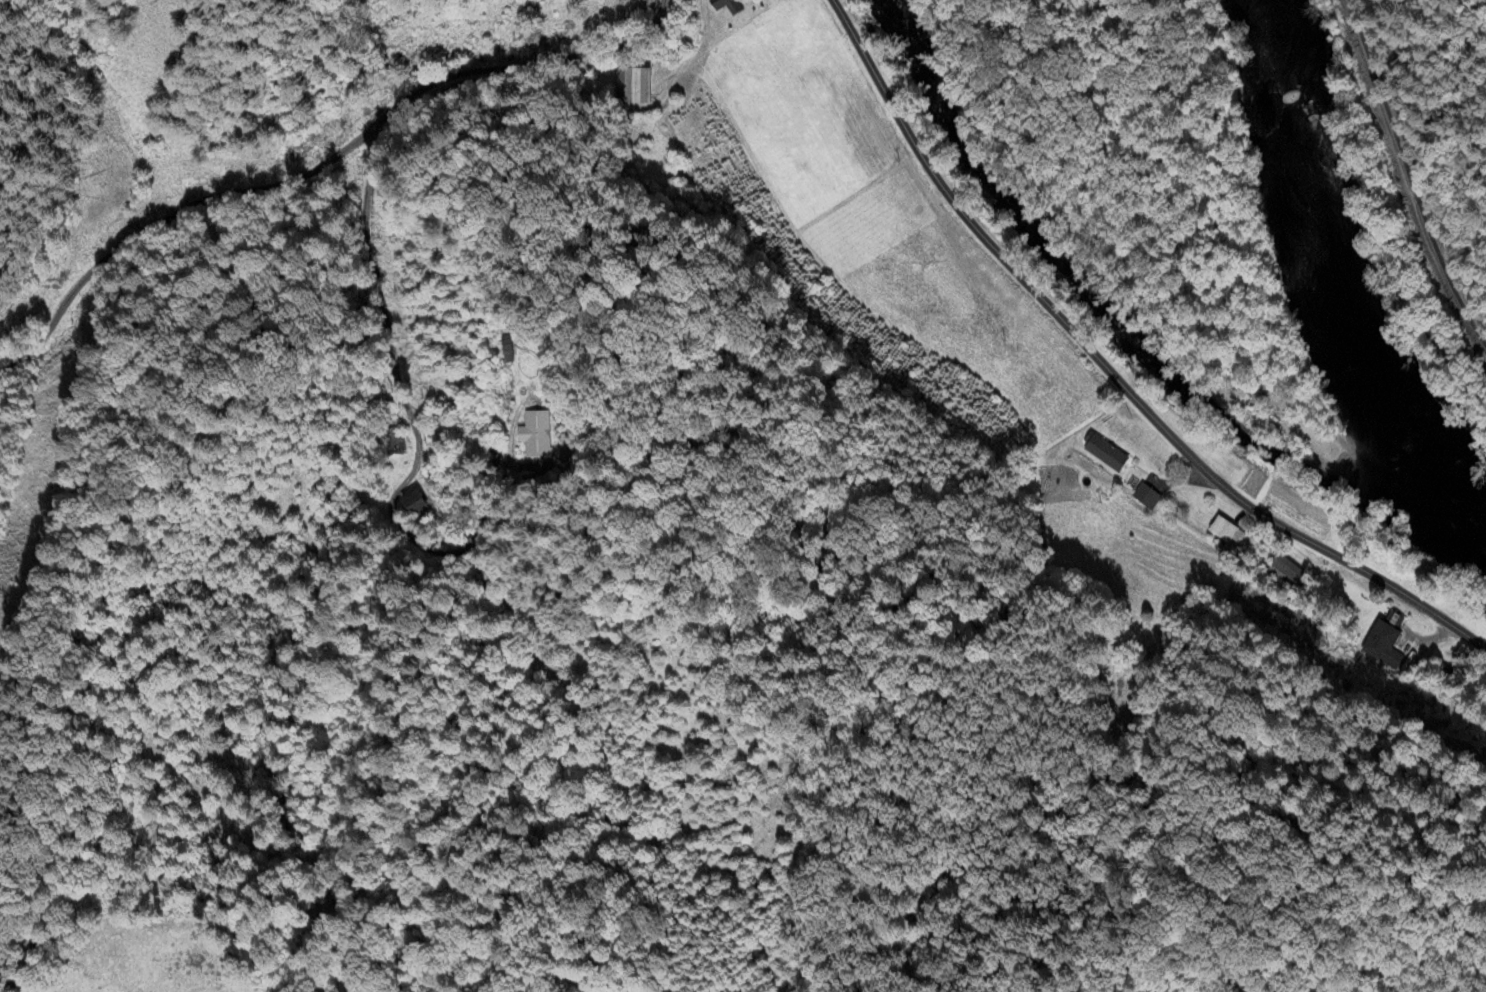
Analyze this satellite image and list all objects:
building: (633, 87)
road: (320, 162)
railway: (1410, 174)
river: (1336, 286)
road: (1110, 374)
building: (535, 436)
building: (393, 444)
building: (413, 506)
building: (1222, 531)
building: (1284, 572)

